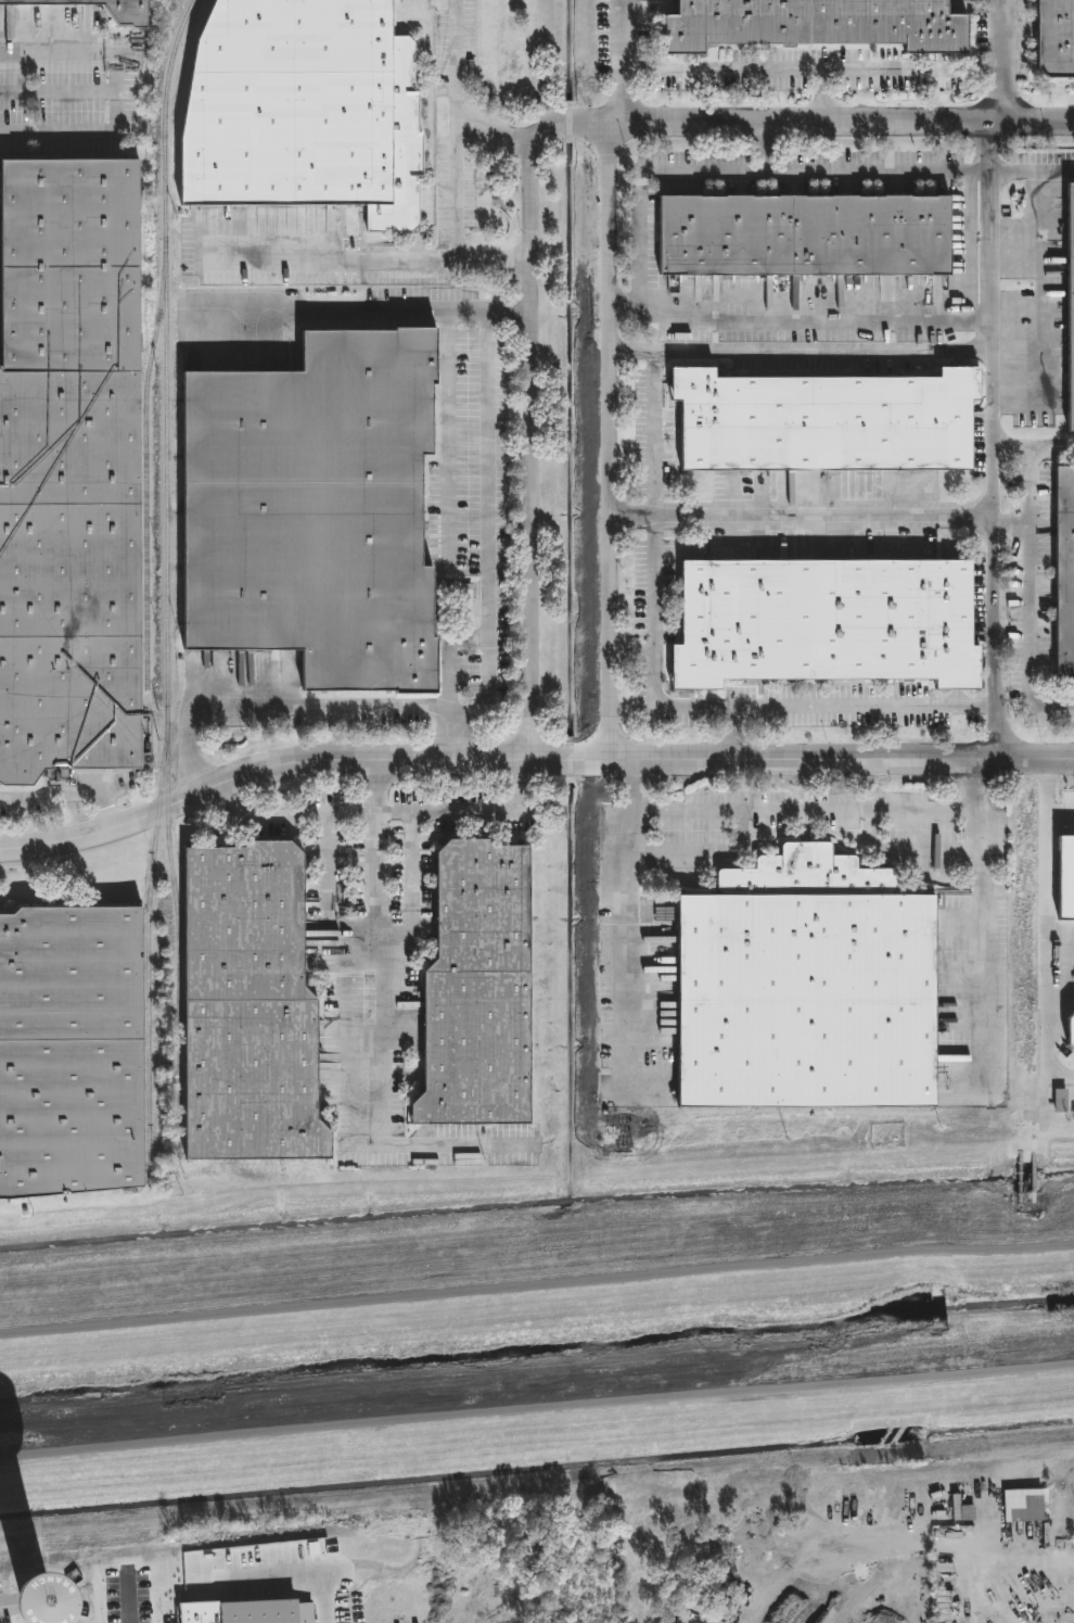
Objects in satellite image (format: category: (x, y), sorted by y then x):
building: (110, 9)
building: (809, 23)
road: (998, 35)
building: (1053, 38)
road: (63, 49)
road: (619, 61)
road: (833, 71)
road: (820, 94)
road: (118, 110)
building: (308, 110)
road: (824, 119)
road: (457, 128)
road: (498, 130)
road: (764, 144)
road: (1032, 170)
building: (798, 236)
road: (642, 239)
road: (367, 259)
road: (626, 297)
building: (1072, 310)
road: (365, 312)
road: (802, 352)
building: (819, 422)
road: (532, 428)
road: (612, 432)
road: (655, 433)
road: (992, 439)
road: (1033, 446)
building: (73, 471)
railway: (148, 473)
building: (320, 511)
road: (803, 516)
road: (1010, 519)
road: (486, 543)
building: (1063, 573)
railway: (167, 588)
road: (1028, 594)
building: (820, 622)
road: (634, 649)
road: (284, 705)
road: (731, 705)
road: (730, 733)
road: (529, 760)
road: (971, 785)
road: (68, 796)
road: (384, 810)
road: (945, 810)
road: (1063, 817)
road: (904, 850)
road: (678, 852)
road: (412, 882)
road: (328, 892)
road: (619, 922)
road: (1053, 922)
railway: (178, 946)
building: (801, 987)
building: (483, 990)
road: (378, 996)
building: (253, 1009)
building: (73, 1052)
building: (1059, 1104)
road: (128, 1598)
building: (84, 1603)
water tower: (35, 1605)
water tower: (36, 1612)

